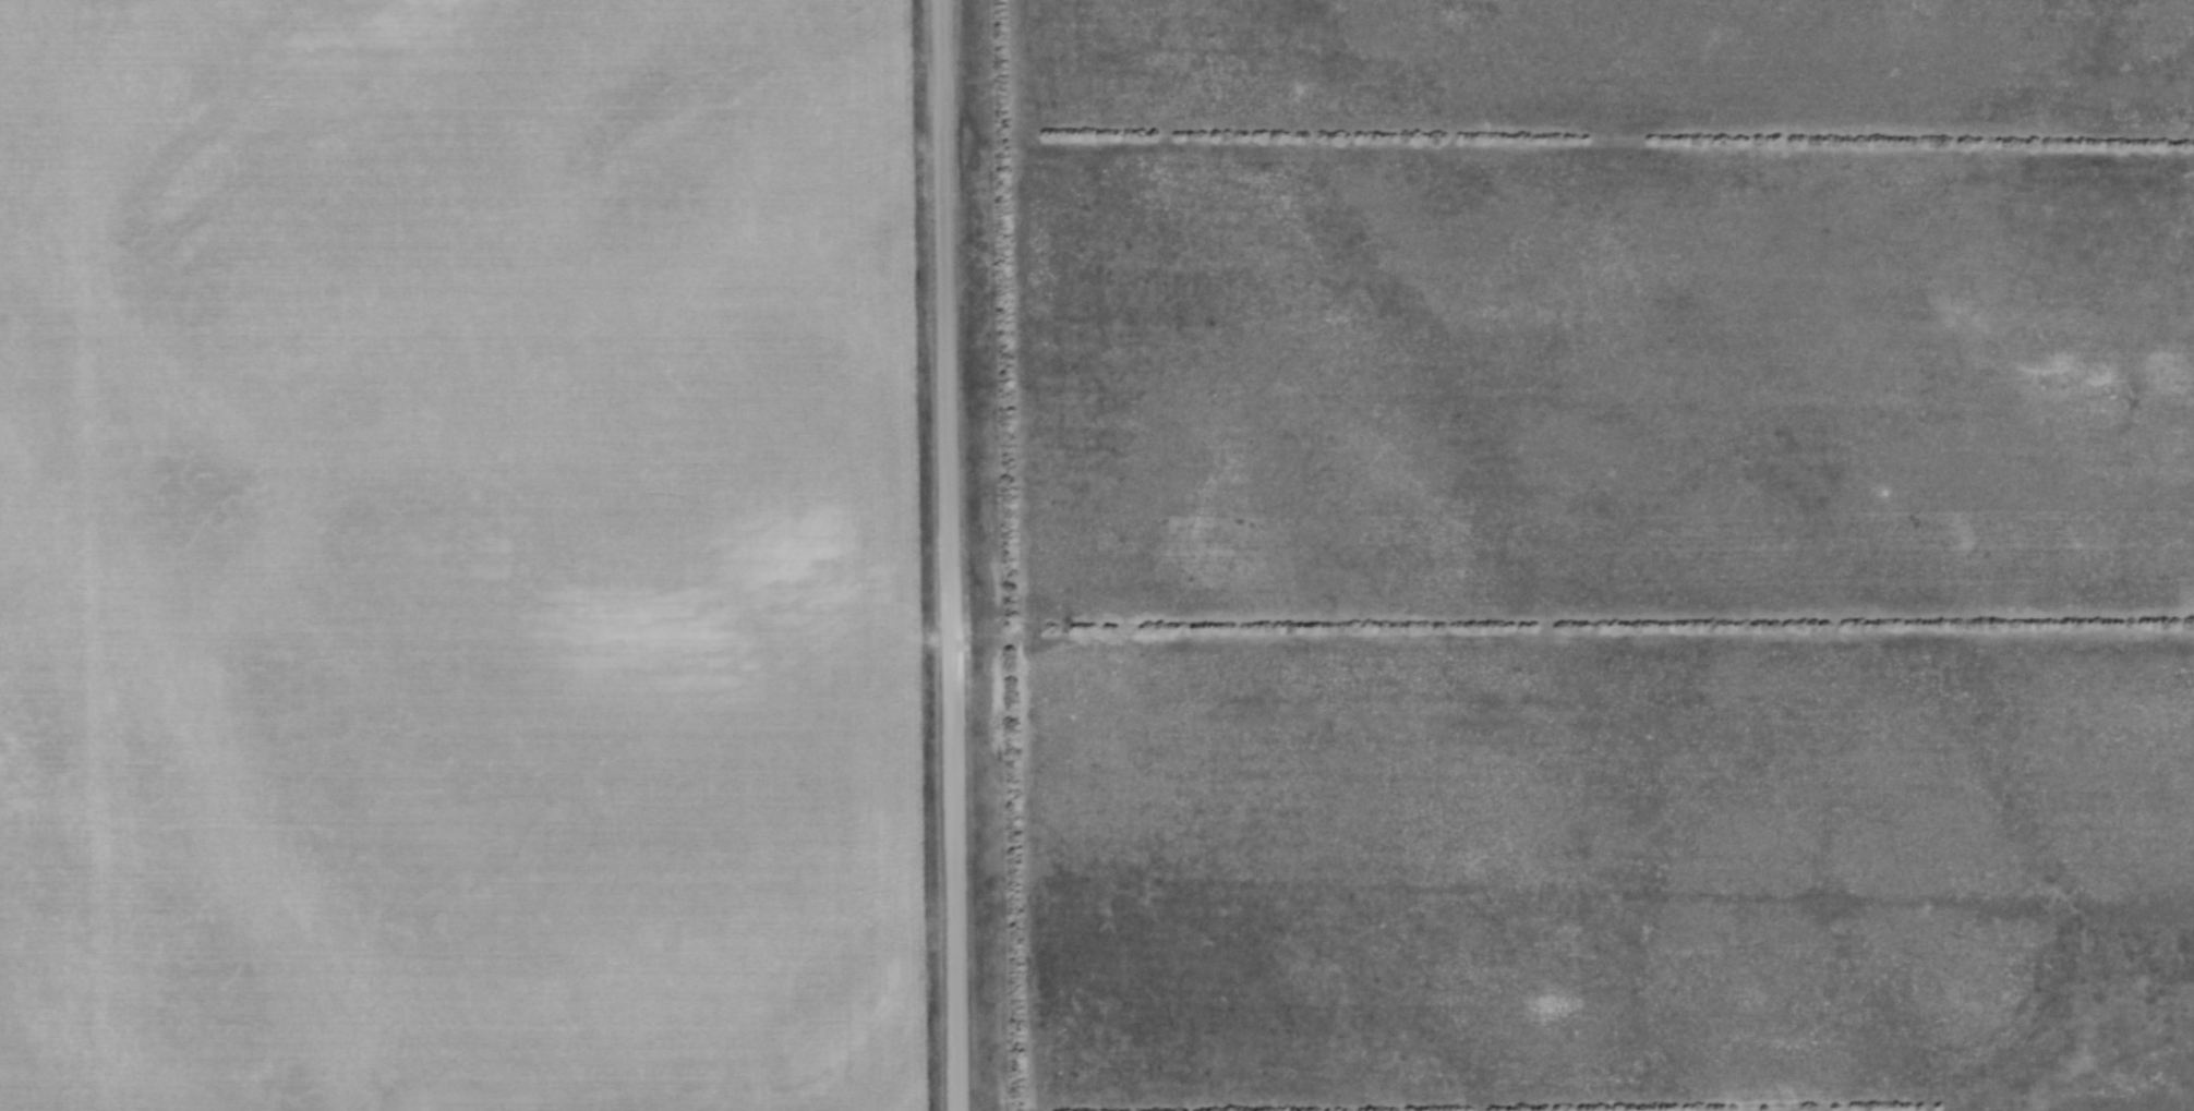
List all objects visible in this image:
road: (951, 555)
crop: (458, 557)

